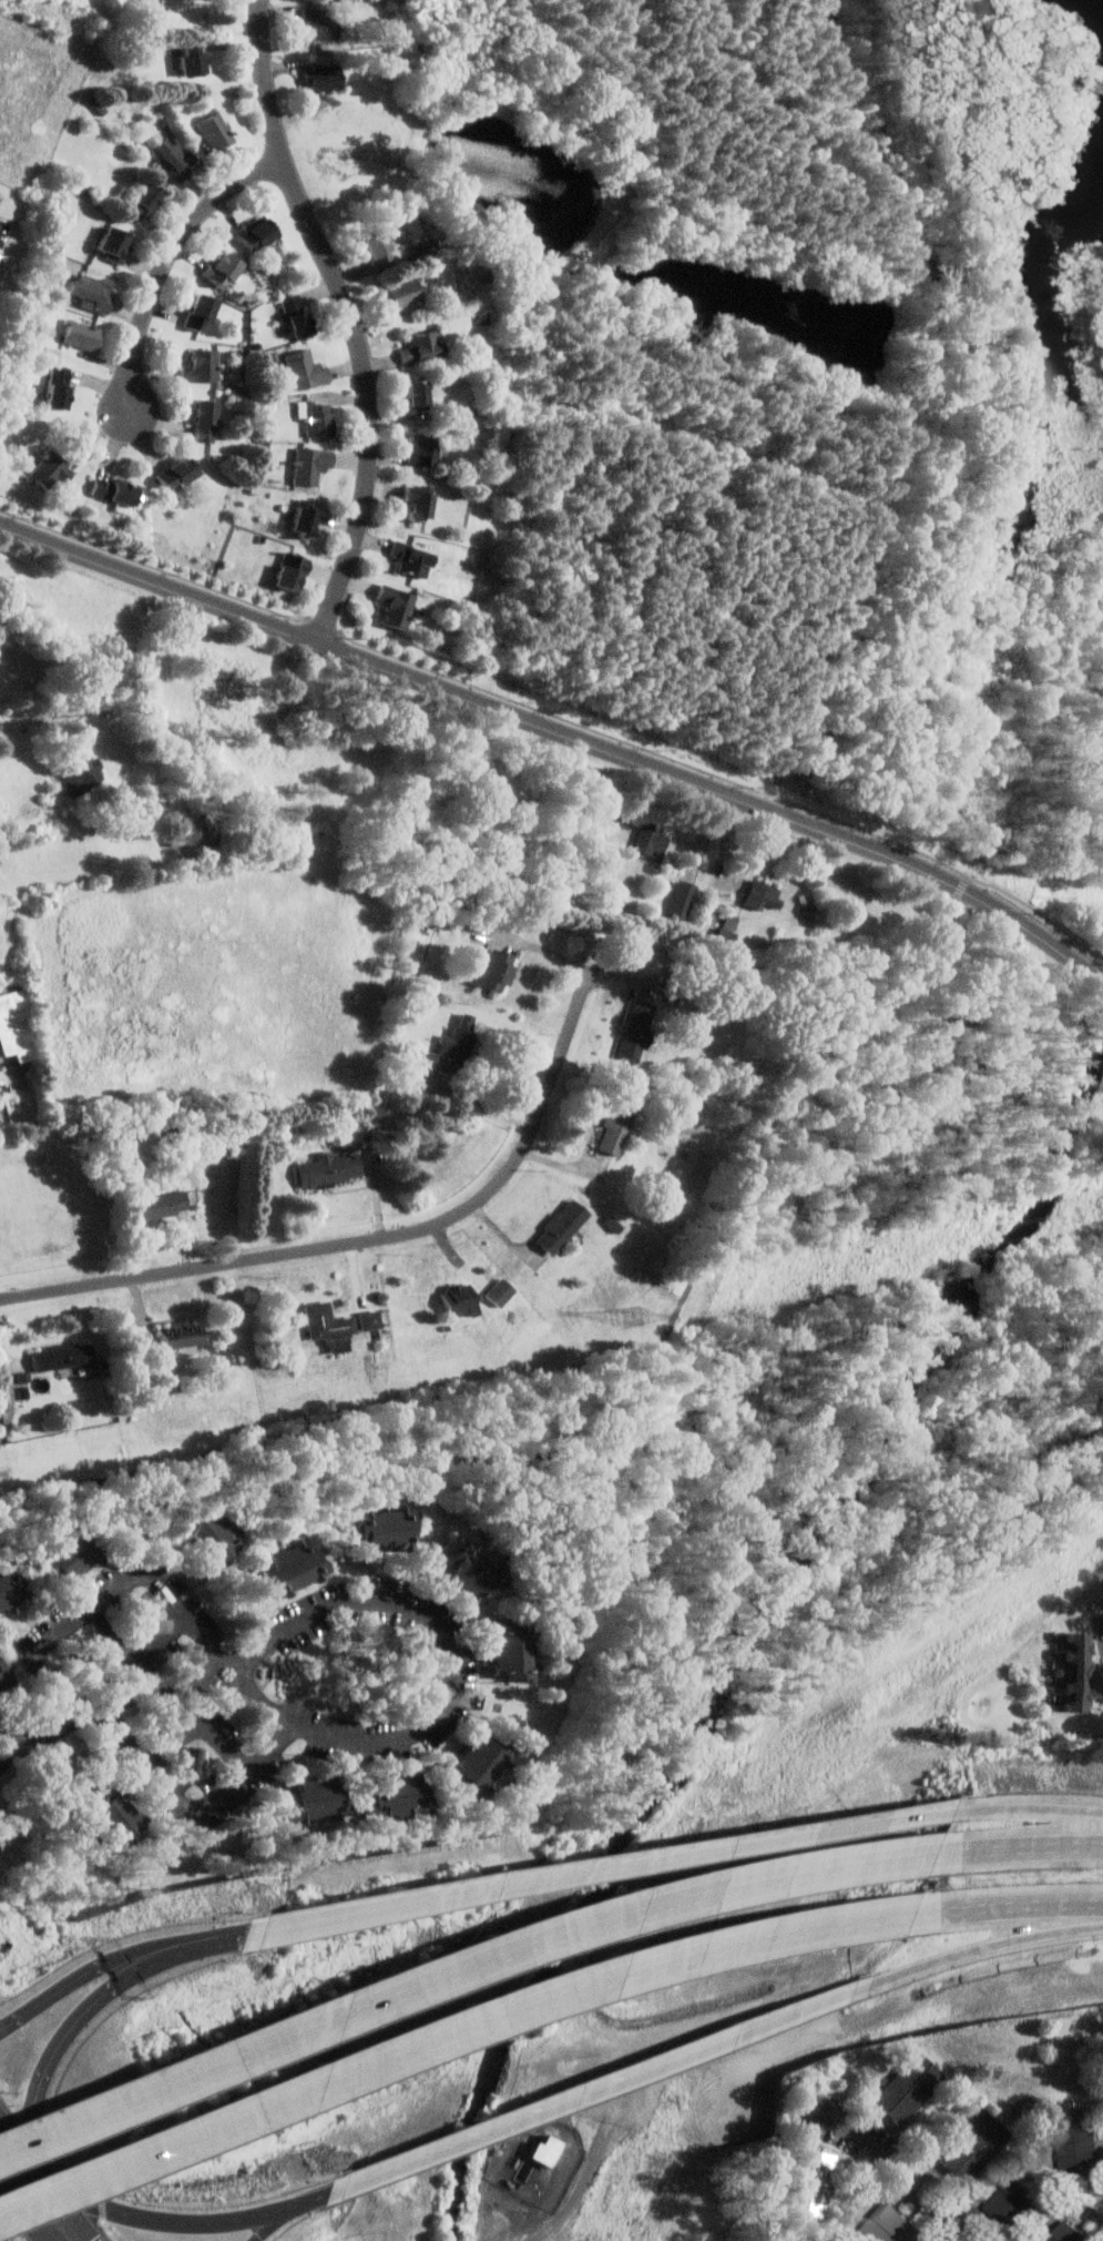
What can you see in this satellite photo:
building: (316, 26)
building: (192, 59)
building: (321, 78)
building: (214, 131)
building: (172, 156)
road: (1005, 159)
building: (142, 201)
building: (254, 233)
building: (112, 244)
building: (380, 247)
road: (167, 261)
building: (221, 268)
building: (91, 292)
building: (402, 293)
building: (197, 313)
building: (294, 315)
road: (351, 318)
building: (81, 335)
building: (425, 345)
building: (201, 367)
building: (306, 369)
building: (55, 388)
road: (928, 389)
building: (420, 394)
building: (318, 418)
building: (202, 422)
building: (425, 449)
building: (310, 466)
building: (51, 471)
building: (175, 474)
building: (113, 491)
building: (420, 500)
building: (305, 519)
building: (415, 558)
building: (290, 572)
building: (397, 606)
road: (325, 623)
road: (559, 731)
road: (656, 751)
parking lot: (797, 762)
building: (89, 770)
road: (790, 780)
building: (652, 840)
road: (726, 850)
road: (981, 881)
road: (964, 889)
building: (762, 895)
road: (1050, 916)
road: (549, 950)
building: (494, 970)
road: (1101, 978)
building: (17, 1026)
building: (637, 1028)
building: (457, 1042)
building: (11, 1077)
road: (479, 1101)
building: (616, 1124)
building: (329, 1168)
building: (162, 1204)
building: (562, 1225)
river: (1009, 1235)
road: (371, 1238)
building: (501, 1291)
building: (462, 1298)
power tower: (636, 1316)
building: (371, 1319)
building: (329, 1327)
building: (184, 1334)
building: (67, 1357)
road: (640, 1438)
building: (384, 1529)
building: (211, 1532)
building: (69, 1553)
building: (292, 1566)
building: (469, 1572)
building: (10, 1589)
road: (111, 1592)
river: (752, 1612)
building: (509, 1650)
road: (135, 1660)
building: (7, 1666)
road: (451, 1671)
building: (1075, 1671)
road: (111, 1707)
road: (203, 1730)
building: (478, 1763)
building: (396, 1795)
building: (314, 1797)
road: (1027, 1807)
road: (196, 1808)
building: (113, 1818)
road: (731, 1845)
road: (1018, 1846)
building: (423, 1897)
road: (1009, 1905)
road: (386, 1909)
road: (235, 1937)
road: (976, 1948)
road: (161, 1949)
road: (457, 1967)
building: (623, 1973)
road: (54, 1991)
road: (82, 2012)
road: (756, 2026)
river: (509, 2028)
road: (448, 2031)
building: (910, 2088)
traffic signals: (37, 2102)
building: (549, 2105)
road: (501, 2122)
road: (12, 2131)
building: (1078, 2142)
building: (977, 2147)
building: (545, 2150)
road: (896, 2162)
road: (22, 2163)
road: (41, 2169)
road: (9, 2176)
building: (813, 2183)
road: (38, 2184)
road: (16, 2190)
road: (7, 2192)
building: (1012, 2203)
road: (75, 2215)
road: (274, 2217)
road: (202, 2219)
road: (9, 2221)
road: (28, 2221)
building: (892, 2227)
building: (1068, 2233)
traffic signals: (6, 2234)

